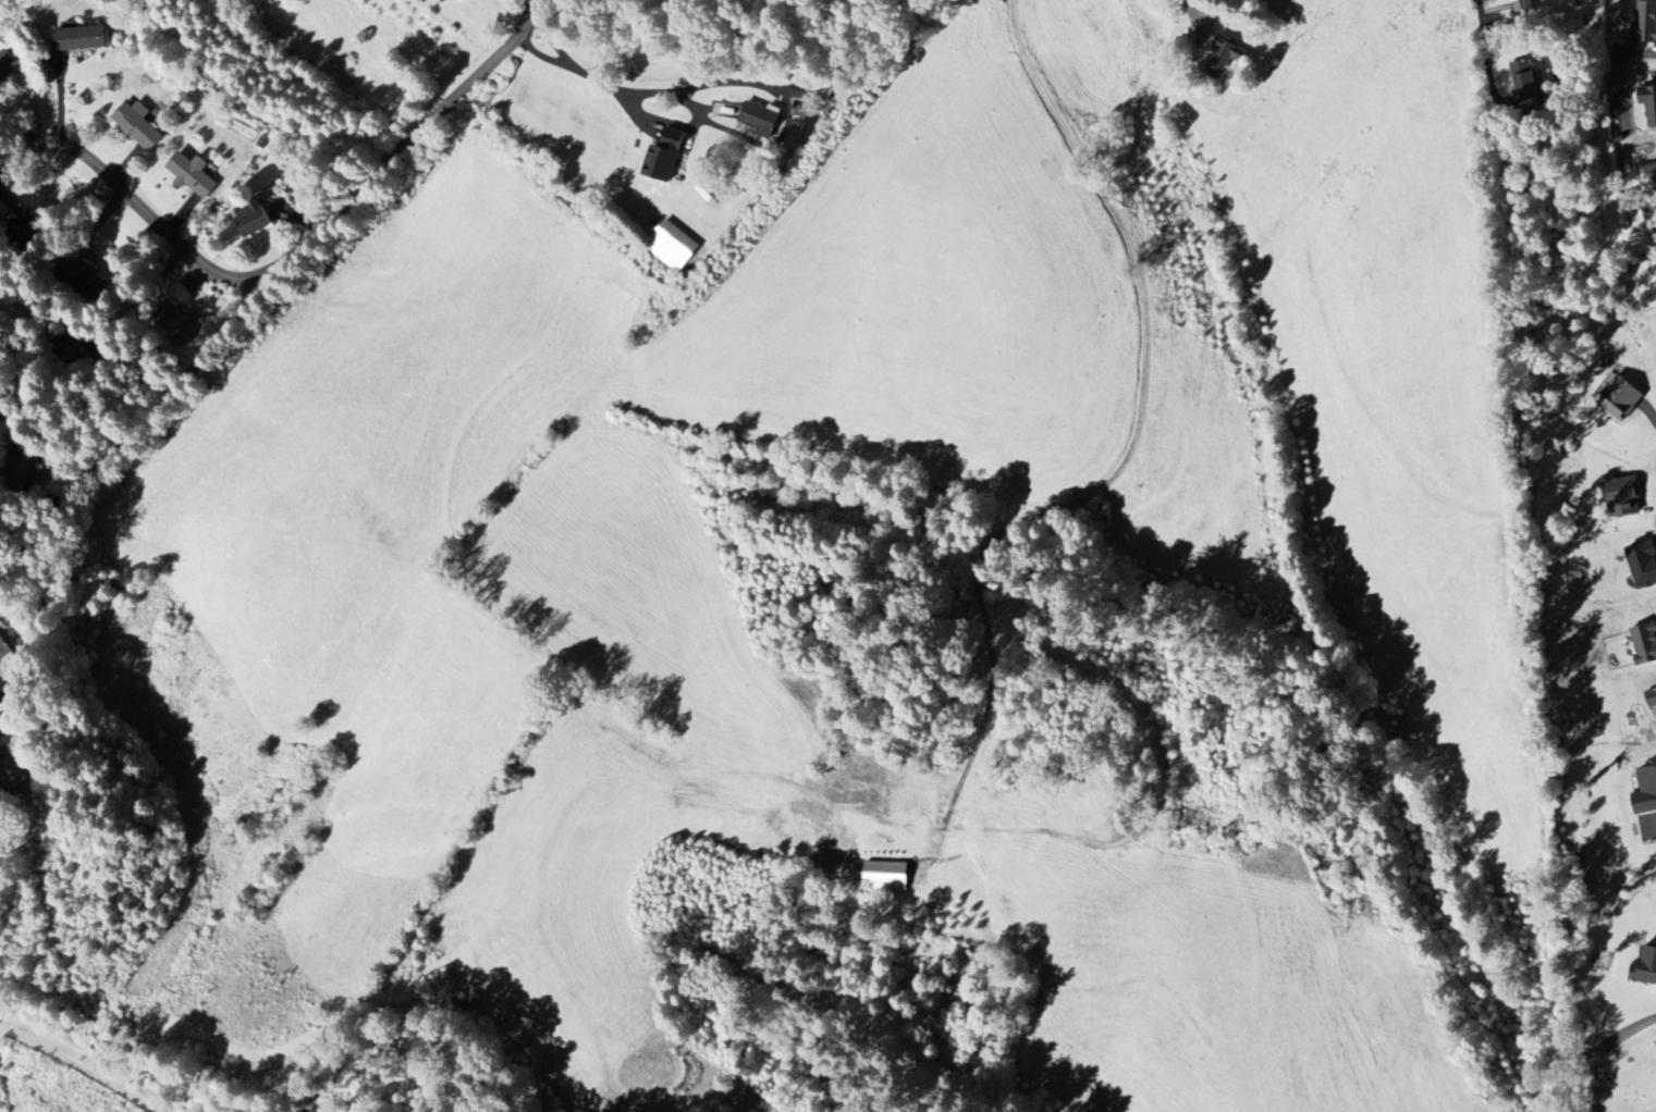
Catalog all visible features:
building: (443, 1)
building: (1526, 5)
road: (1192, 15)
building: (1645, 23)
road: (1482, 24)
building: (79, 38)
building: (1224, 57)
road: (567, 62)
building: (7, 64)
building: (1526, 85)
building: (800, 92)
road: (682, 97)
road: (1555, 103)
building: (1648, 103)
building: (760, 120)
building: (137, 125)
road: (20, 127)
building: (663, 158)
building: (1649, 166)
building: (192, 174)
building: (1655, 180)
building: (707, 195)
building: (252, 219)
building: (672, 246)
road: (295, 263)
building: (173, 320)
building: (1619, 397)
road: (1123, 464)
building: (17, 471)
road: (87, 474)
building: (1623, 496)
building: (1643, 564)
building: (1645, 643)
building: (4, 650)
building: (1652, 697)
building: (4, 747)
building: (1646, 791)
building: (886, 876)
building: (1646, 968)

